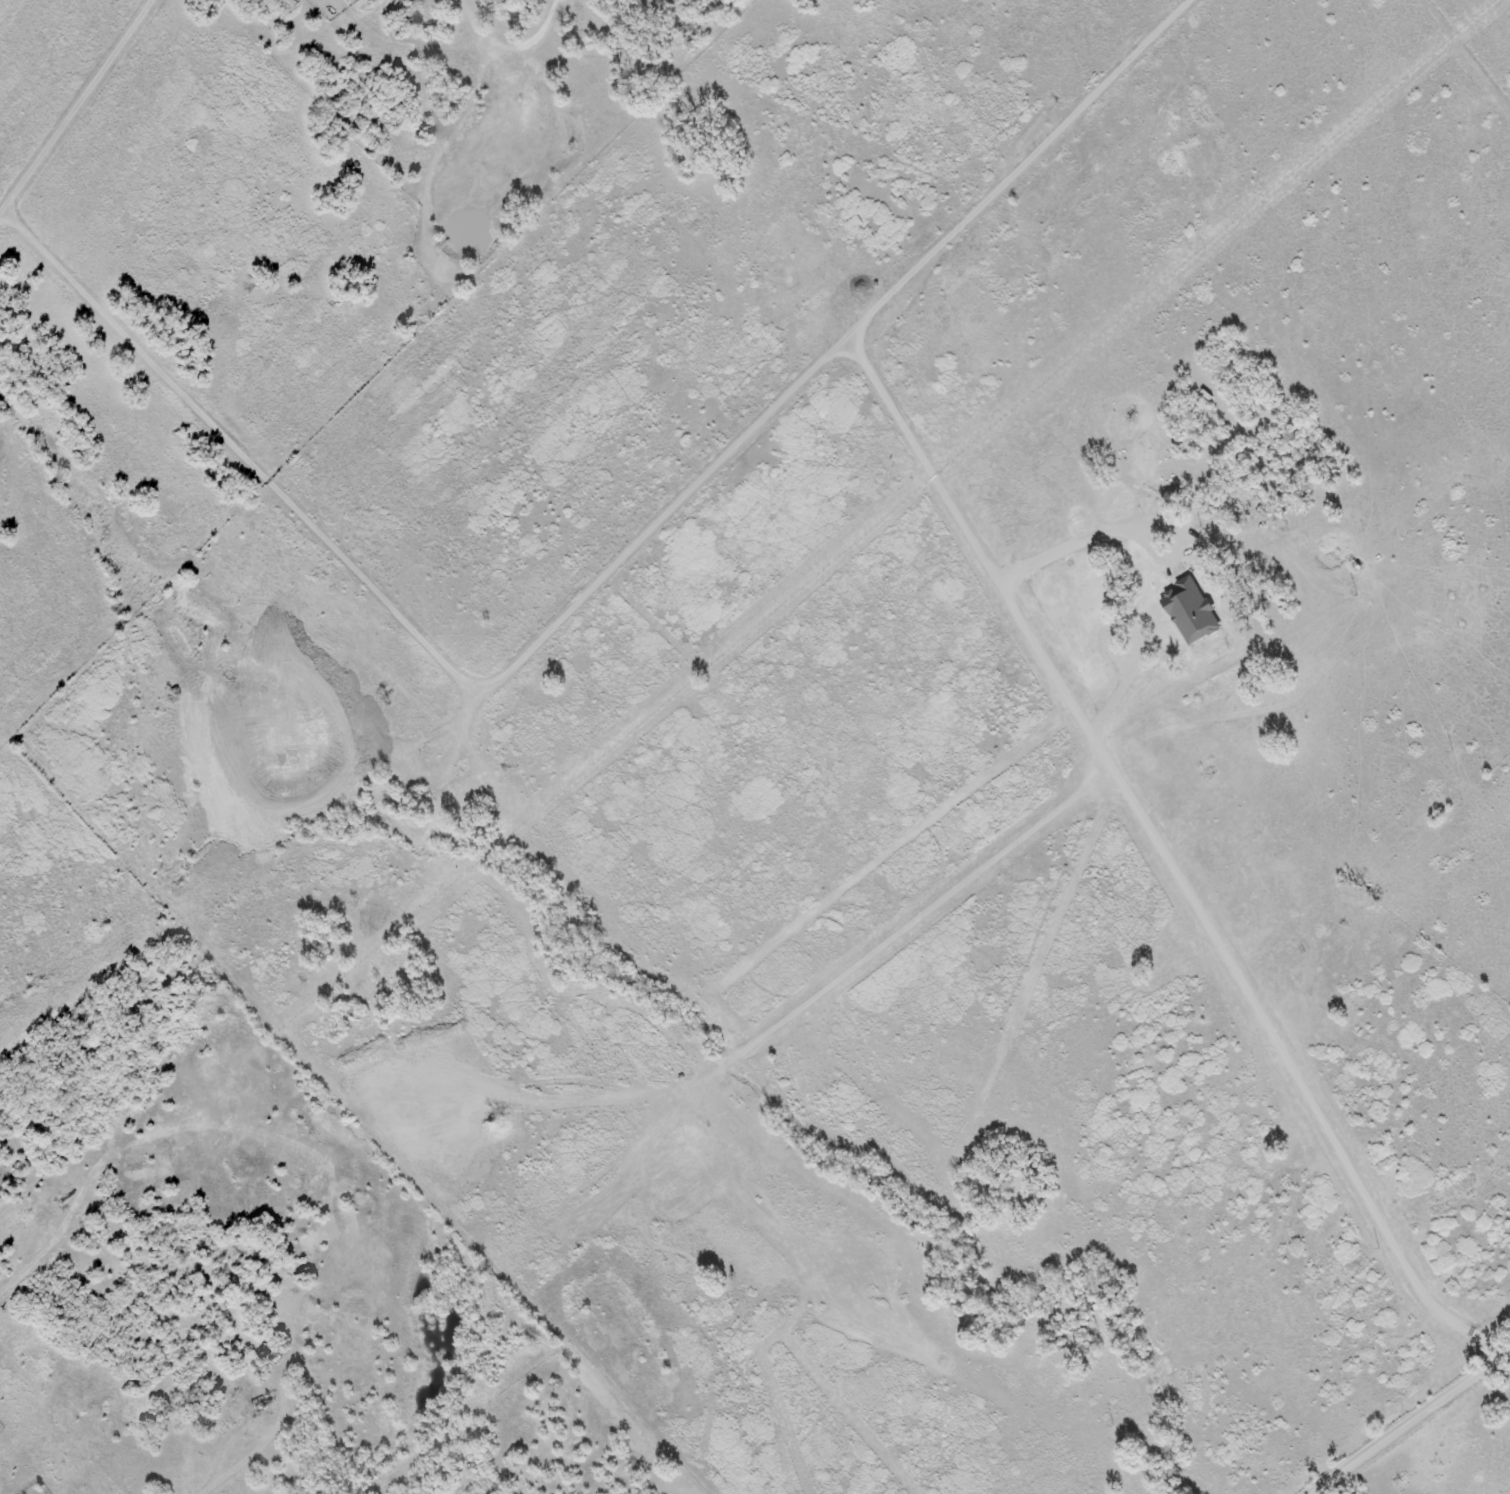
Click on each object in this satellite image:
road: (1409, 1420)

